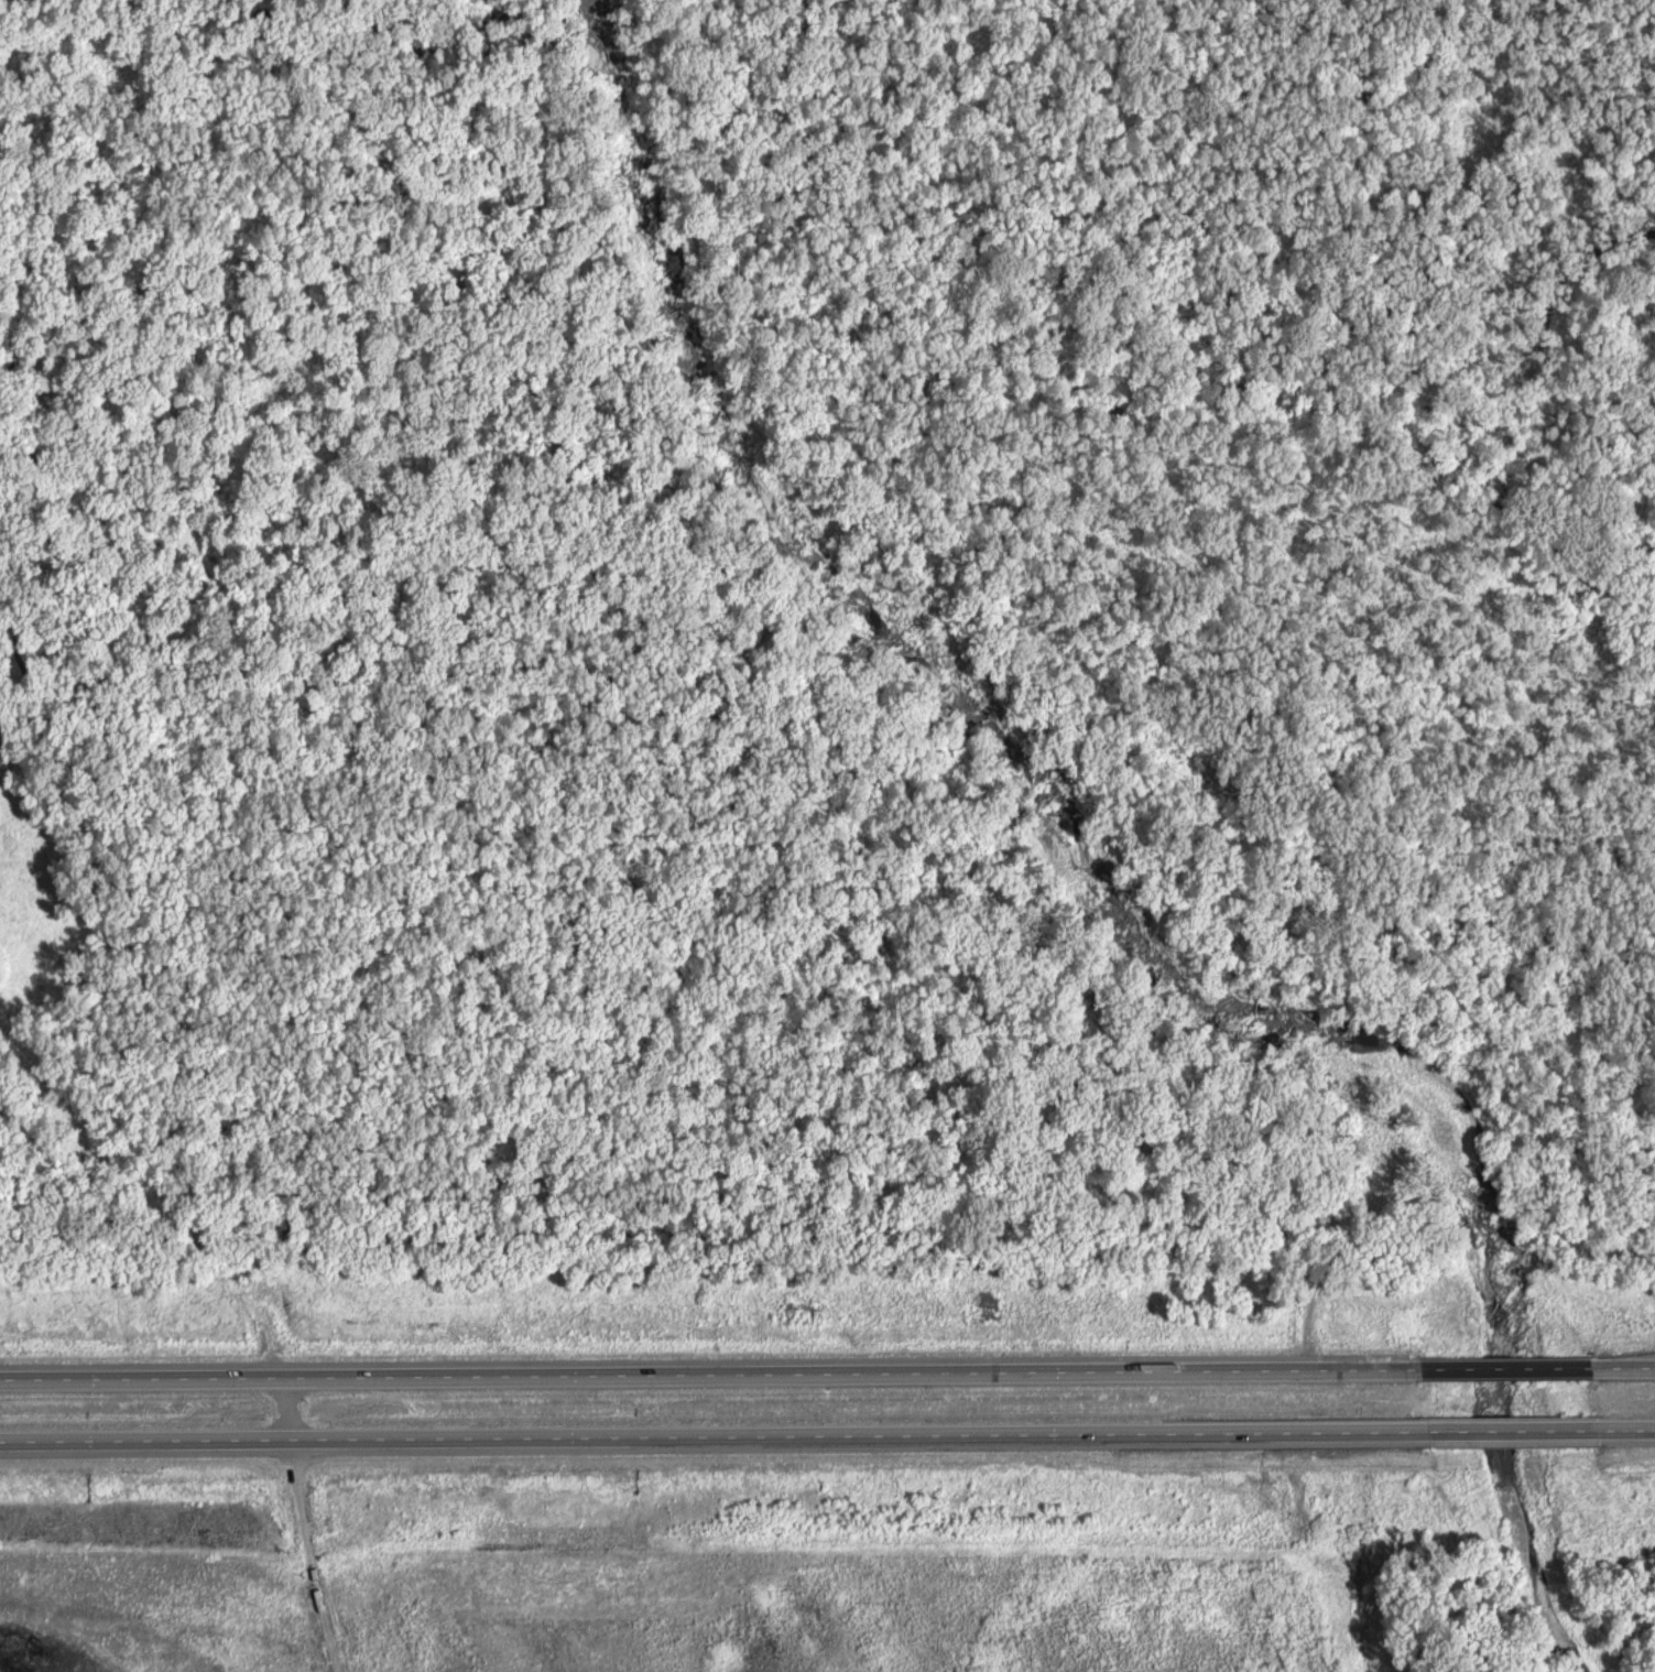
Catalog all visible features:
river: (1113, 849)
road: (1621, 1374)
road: (1502, 1376)
road: (708, 1378)
road: (1627, 1432)
road: (1510, 1433)
road: (709, 1442)
road: (303, 1527)

